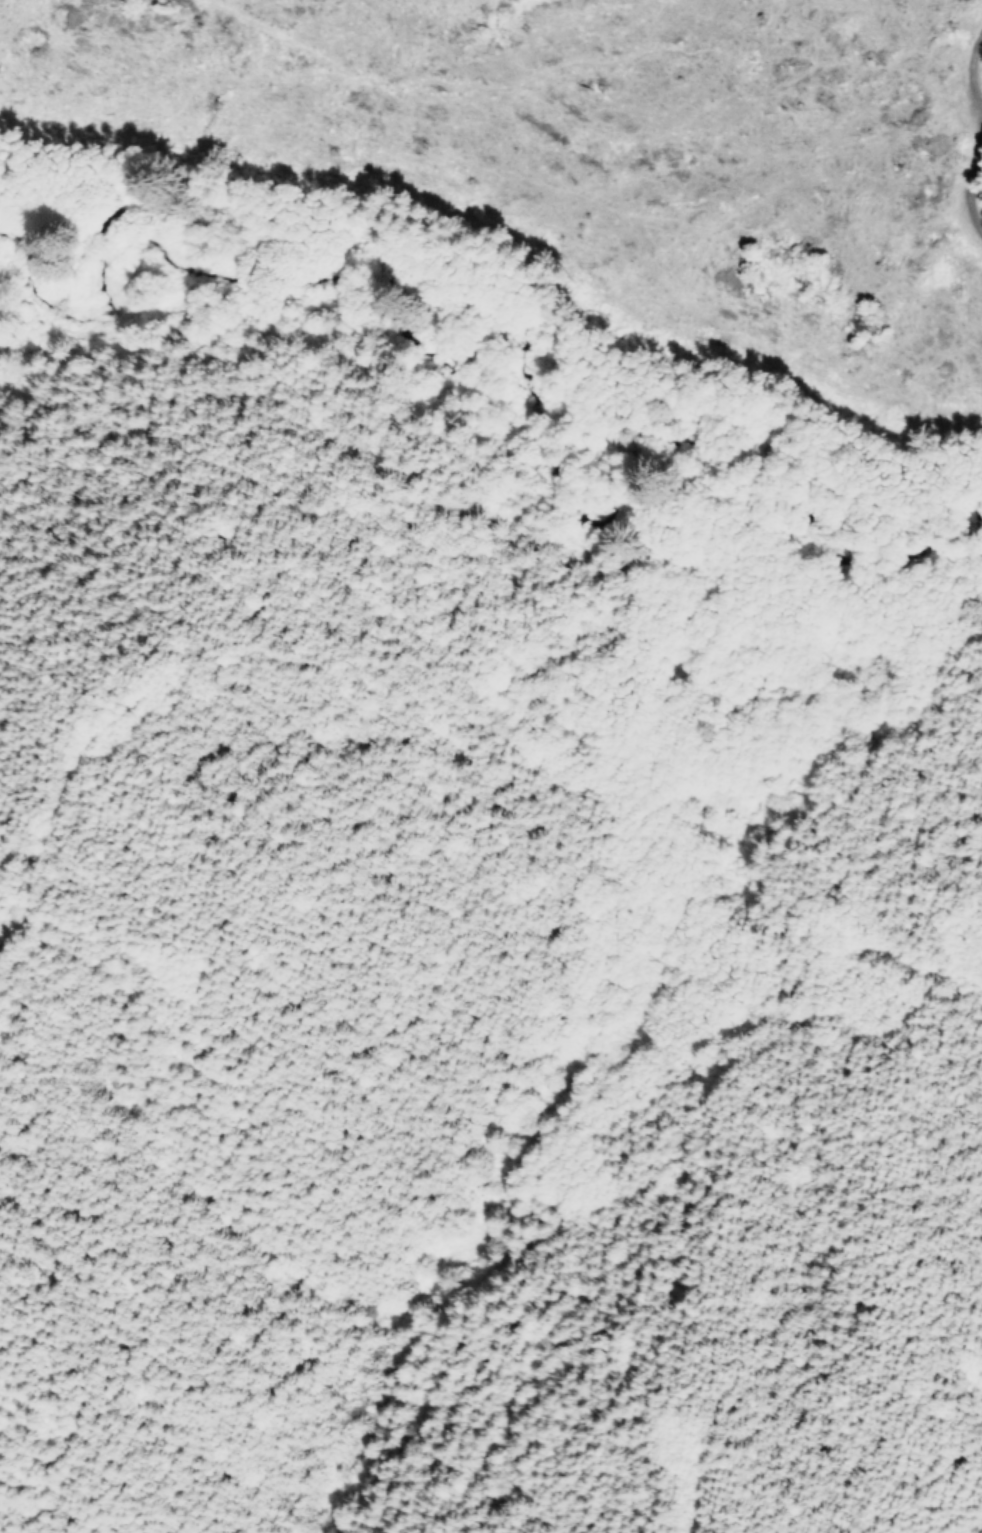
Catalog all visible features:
road: (957, 225)

